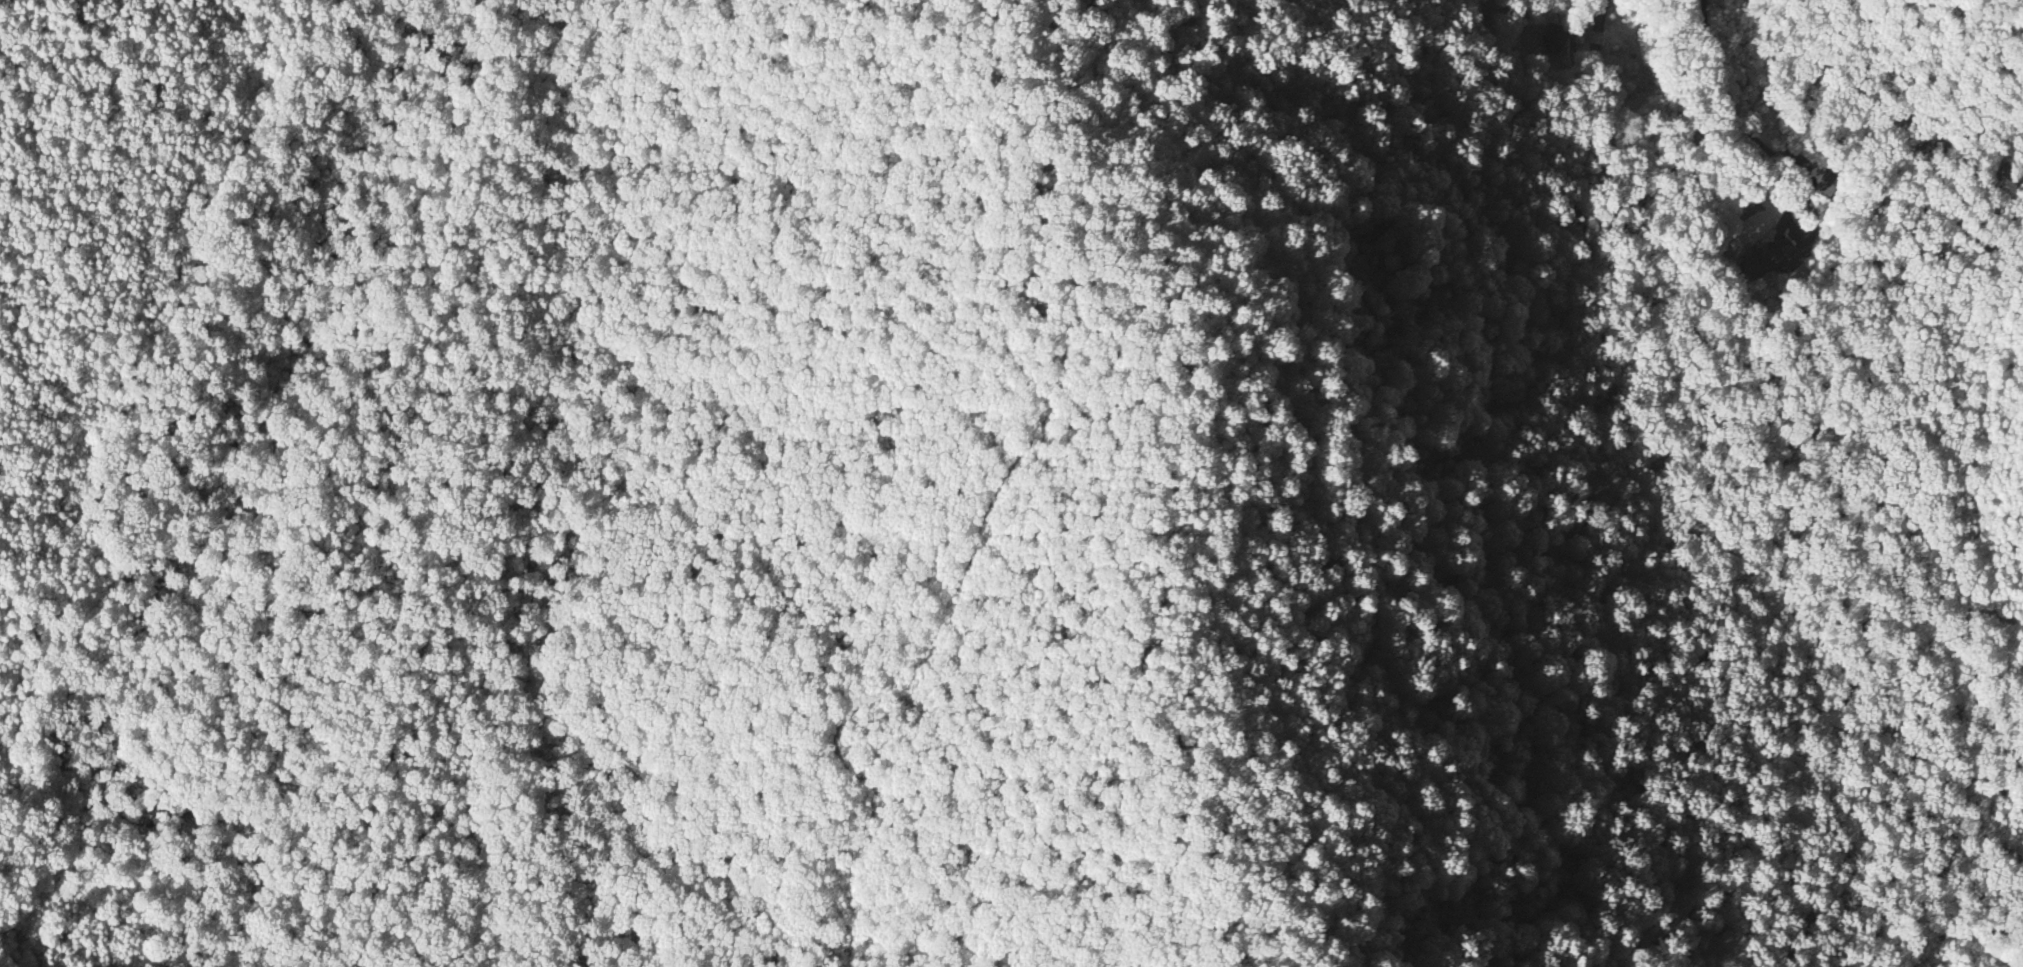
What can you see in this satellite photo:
building: (1551, 34)
road: (1722, 86)
road: (72, 174)
building: (1774, 254)
road: (1168, 301)
road: (1156, 675)
road: (24, 930)

